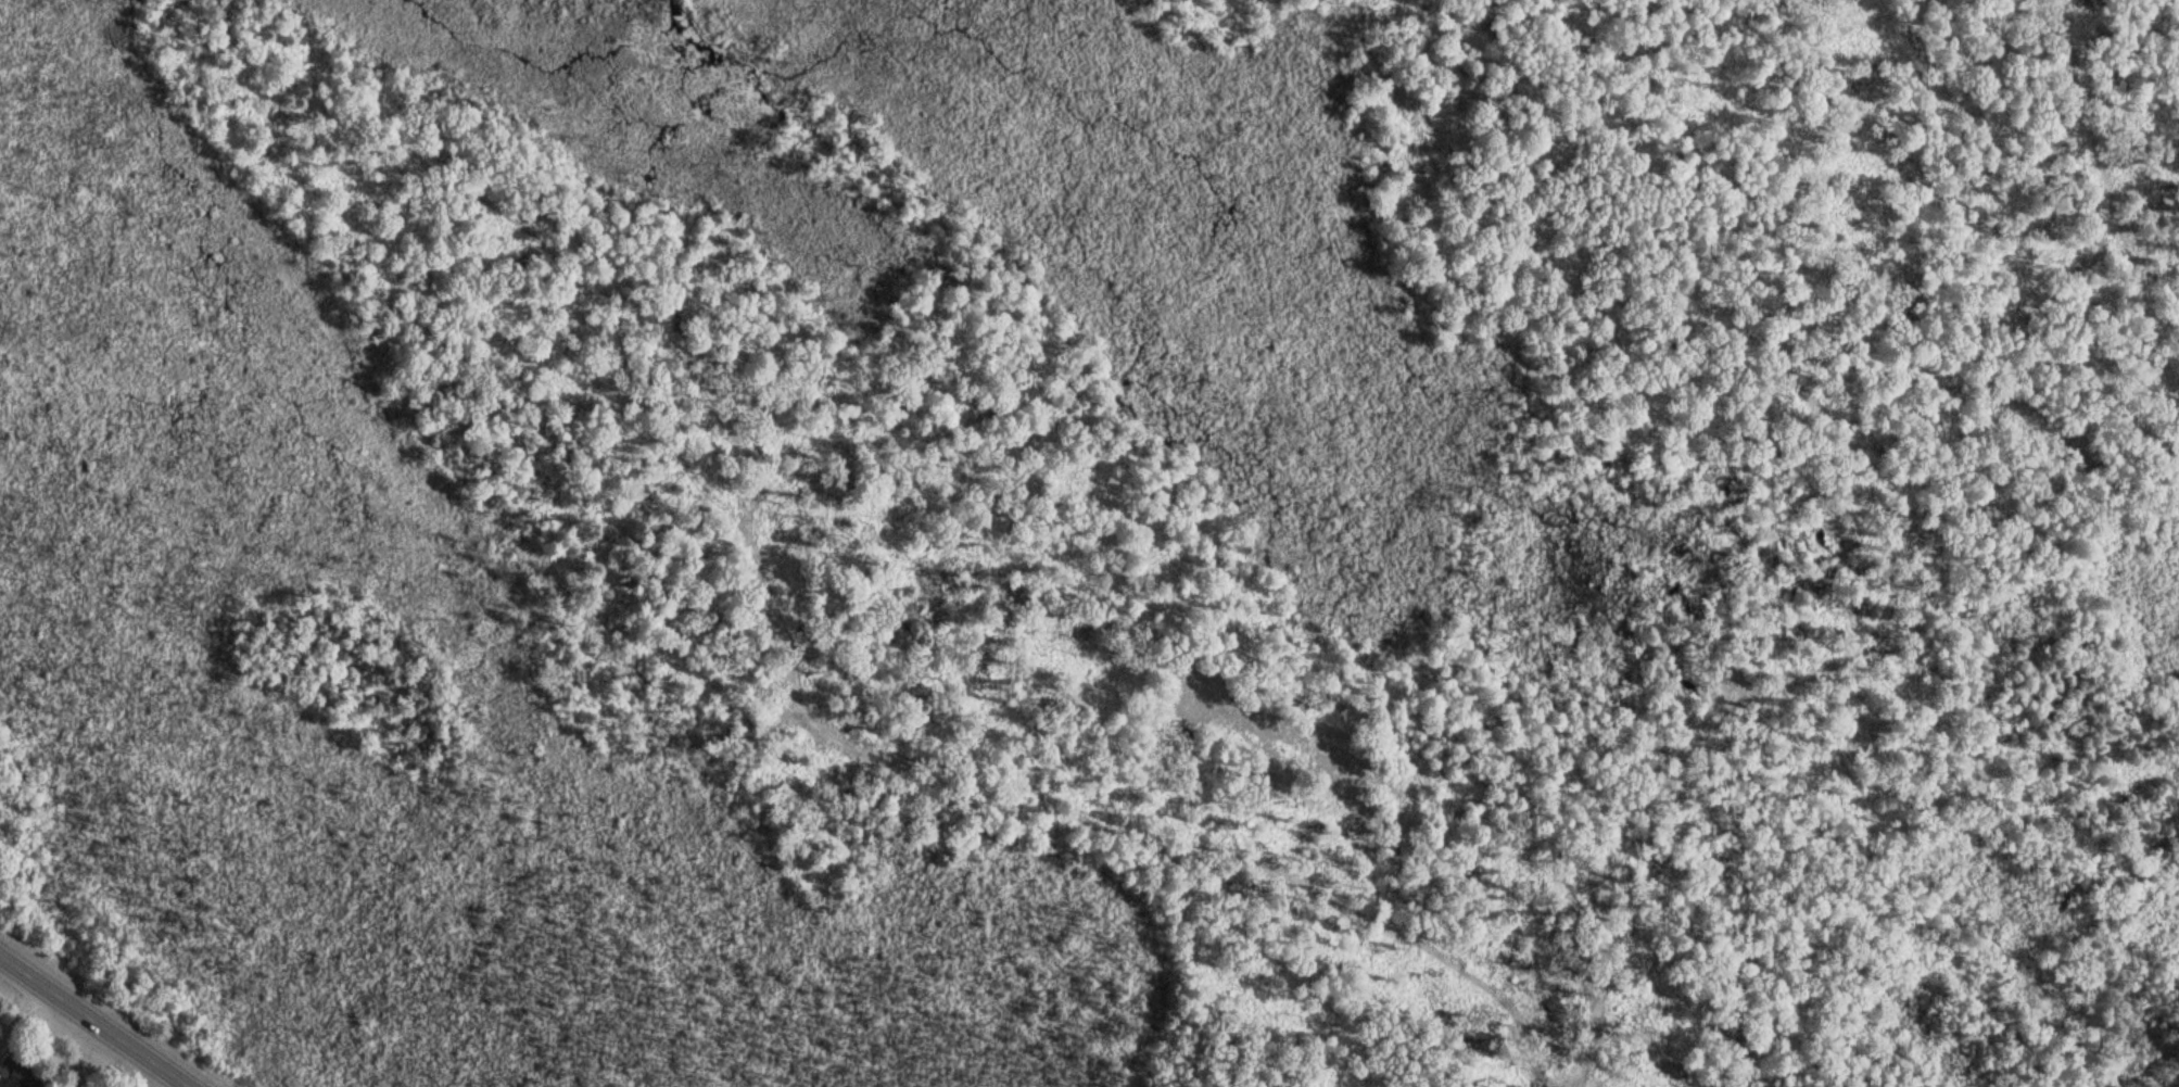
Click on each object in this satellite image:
road: (97, 1020)
building: (17, 1073)

